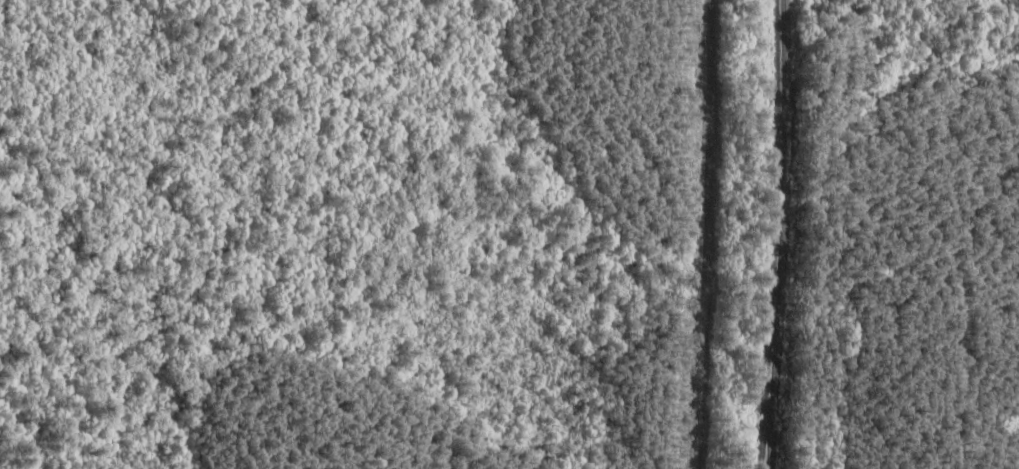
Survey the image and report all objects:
road: (711, 234)
railway: (784, 234)

